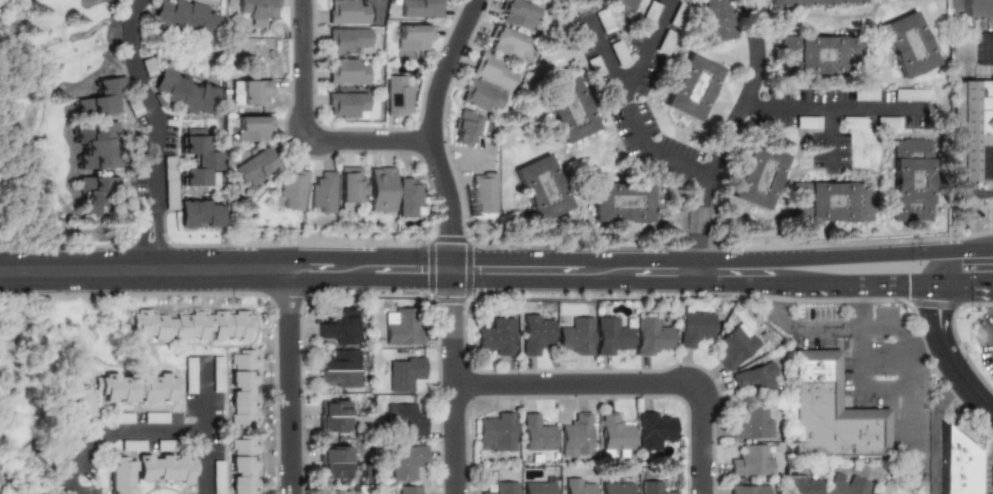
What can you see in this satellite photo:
building: (210, 0)
building: (618, 3)
building: (811, 3)
road: (962, 5)
road: (134, 7)
building: (420, 8)
road: (64, 9)
building: (258, 9)
road: (978, 10)
building: (348, 11)
building: (516, 13)
building: (642, 18)
building: (712, 19)
building: (599, 20)
building: (188, 22)
road: (132, 33)
building: (412, 36)
building: (578, 38)
building: (347, 39)
building: (661, 41)
building: (505, 42)
building: (906, 45)
building: (983, 48)
road: (602, 49)
building: (615, 52)
building: (815, 54)
building: (592, 68)
building: (494, 70)
building: (346, 71)
building: (688, 88)
road: (742, 91)
building: (250, 92)
building: (188, 93)
building: (862, 94)
building: (909, 94)
building: (397, 95)
building: (481, 96)
road: (626, 102)
building: (347, 104)
building: (95, 107)
building: (133, 107)
road: (829, 109)
building: (567, 110)
road: (968, 120)
building: (805, 121)
building: (850, 122)
building: (886, 122)
road: (430, 126)
building: (467, 126)
building: (973, 126)
building: (251, 128)
road: (303, 128)
road: (825, 135)
building: (98, 147)
road: (157, 157)
building: (200, 163)
building: (985, 164)
building: (256, 167)
building: (754, 176)
building: (912, 185)
building: (351, 186)
building: (542, 188)
building: (291, 189)
building: (380, 189)
building: (483, 192)
building: (323, 193)
building: (410, 198)
building: (100, 199)
building: (619, 202)
road: (972, 204)
building: (829, 205)
road: (697, 217)
building: (201, 221)
traffic signals: (451, 231)
road: (976, 248)
road: (949, 249)
traffic signals: (939, 250)
road: (308, 257)
road: (372, 257)
road: (431, 258)
traffic signals: (483, 258)
road: (517, 258)
road: (761, 259)
road: (938, 265)
road: (143, 269)
road: (451, 269)
road: (697, 270)
road: (965, 280)
road: (328, 281)
road: (412, 281)
traffic signals: (424, 281)
road: (612, 281)
road: (831, 281)
road: (896, 281)
traffic signals: (938, 281)
road: (792, 282)
road: (855, 306)
traffic signals: (451, 308)
road: (937, 308)
traffic signals: (938, 314)
building: (195, 323)
building: (400, 324)
building: (339, 326)
building: (694, 327)
road: (890, 331)
road: (794, 332)
building: (536, 334)
building: (577, 335)
building: (497, 336)
building: (613, 336)
building: (652, 336)
road: (924, 343)
building: (734, 346)
road: (954, 356)
building: (339, 369)
building: (217, 373)
building: (404, 373)
building: (189, 374)
building: (756, 379)
road: (288, 381)
road: (626, 382)
road: (856, 384)
building: (138, 385)
building: (247, 387)
road: (452, 387)
road: (203, 394)
road: (977, 394)
road: (905, 401)
building: (80, 402)
building: (834, 413)
building: (333, 415)
building: (124, 417)
building: (156, 417)
building: (405, 420)
building: (753, 423)
road: (148, 425)
building: (655, 429)
road: (936, 430)
building: (496, 432)
building: (536, 434)
building: (576, 435)
building: (615, 435)
building: (57, 444)
building: (133, 445)
building: (750, 460)
building: (334, 461)
building: (404, 461)
building: (963, 462)
building: (247, 463)
building: (166, 466)
building: (122, 472)
building: (217, 477)
building: (804, 483)
building: (846, 484)
building: (575, 485)
building: (535, 487)
building: (499, 488)
building: (614, 488)
building: (651, 488)
building: (404, 489)
building: (749, 489)
building: (7, 492)
building: (332, 492)

